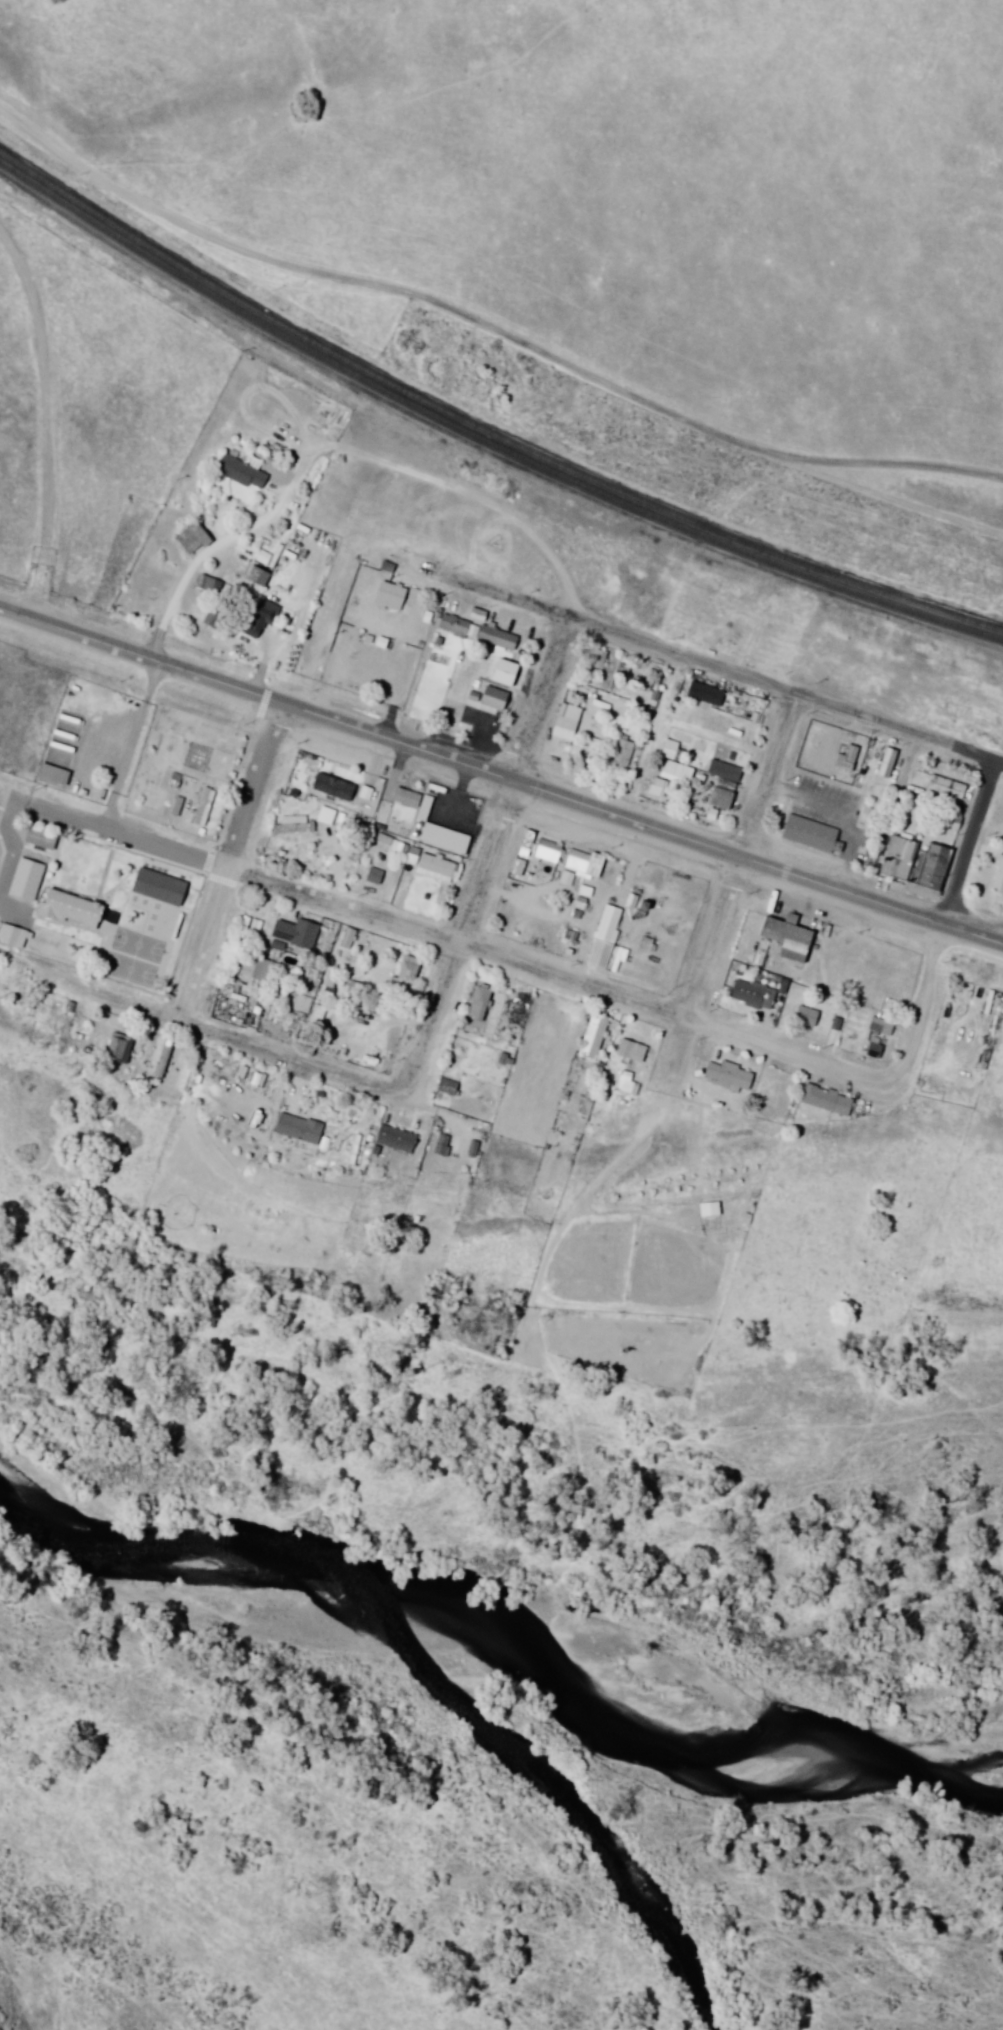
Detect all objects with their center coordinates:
road: (490, 330)
road: (47, 424)
railway: (483, 429)
railway: (483, 440)
road: (334, 453)
building: (240, 474)
building: (190, 540)
building: (265, 560)
building: (255, 577)
building: (388, 597)
building: (451, 627)
building: (495, 639)
building: (596, 660)
building: (358, 669)
road: (707, 671)
building: (651, 680)
building: (704, 695)
building: (491, 699)
building: (562, 727)
building: (669, 749)
building: (622, 754)
building: (197, 758)
building: (846, 759)
building: (886, 764)
building: (677, 772)
building: (724, 772)
road: (500, 785)
building: (329, 787)
building: (946, 788)
building: (720, 799)
building: (175, 807)
building: (201, 808)
building: (947, 822)
building: (292, 825)
building: (808, 835)
building: (544, 852)
building: (899, 855)
building: (415, 860)
road: (728, 860)
road: (479, 861)
building: (581, 863)
road: (224, 866)
building: (933, 868)
building: (371, 876)
building: (996, 878)
building: (159, 903)
building: (66, 910)
building: (293, 934)
road: (931, 936)
building: (602, 937)
building: (346, 939)
building: (785, 940)
road: (998, 945)
road: (449, 950)
building: (287, 961)
building: (254, 971)
building: (404, 973)
building: (749, 995)
building: (300, 1004)
building: (476, 1004)
building: (985, 1004)
building: (516, 1009)
building: (804, 1017)
building: (879, 1027)
building: (831, 1032)
road: (211, 1036)
building: (590, 1036)
building: (112, 1047)
building: (627, 1051)
building: (871, 1051)
building: (158, 1060)
building: (725, 1076)
building: (444, 1087)
building: (148, 1097)
building: (825, 1101)
building: (294, 1129)
building: (393, 1139)
building: (708, 1210)
river: (501, 1638)

